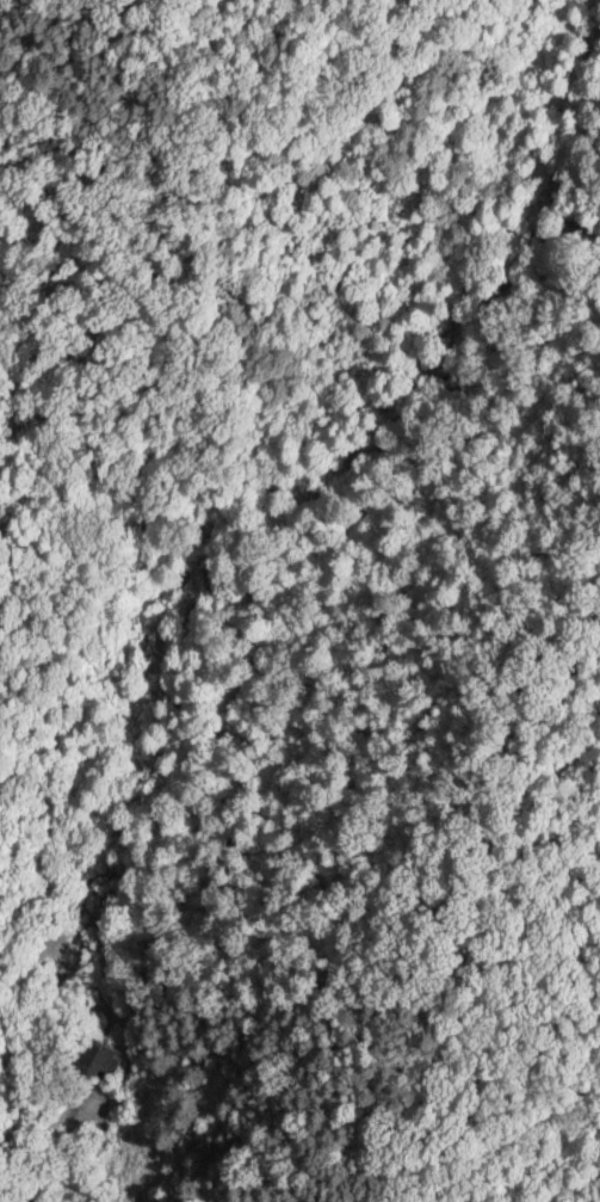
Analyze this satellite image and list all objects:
road: (297, 956)
building: (99, 1058)
road: (573, 1161)

